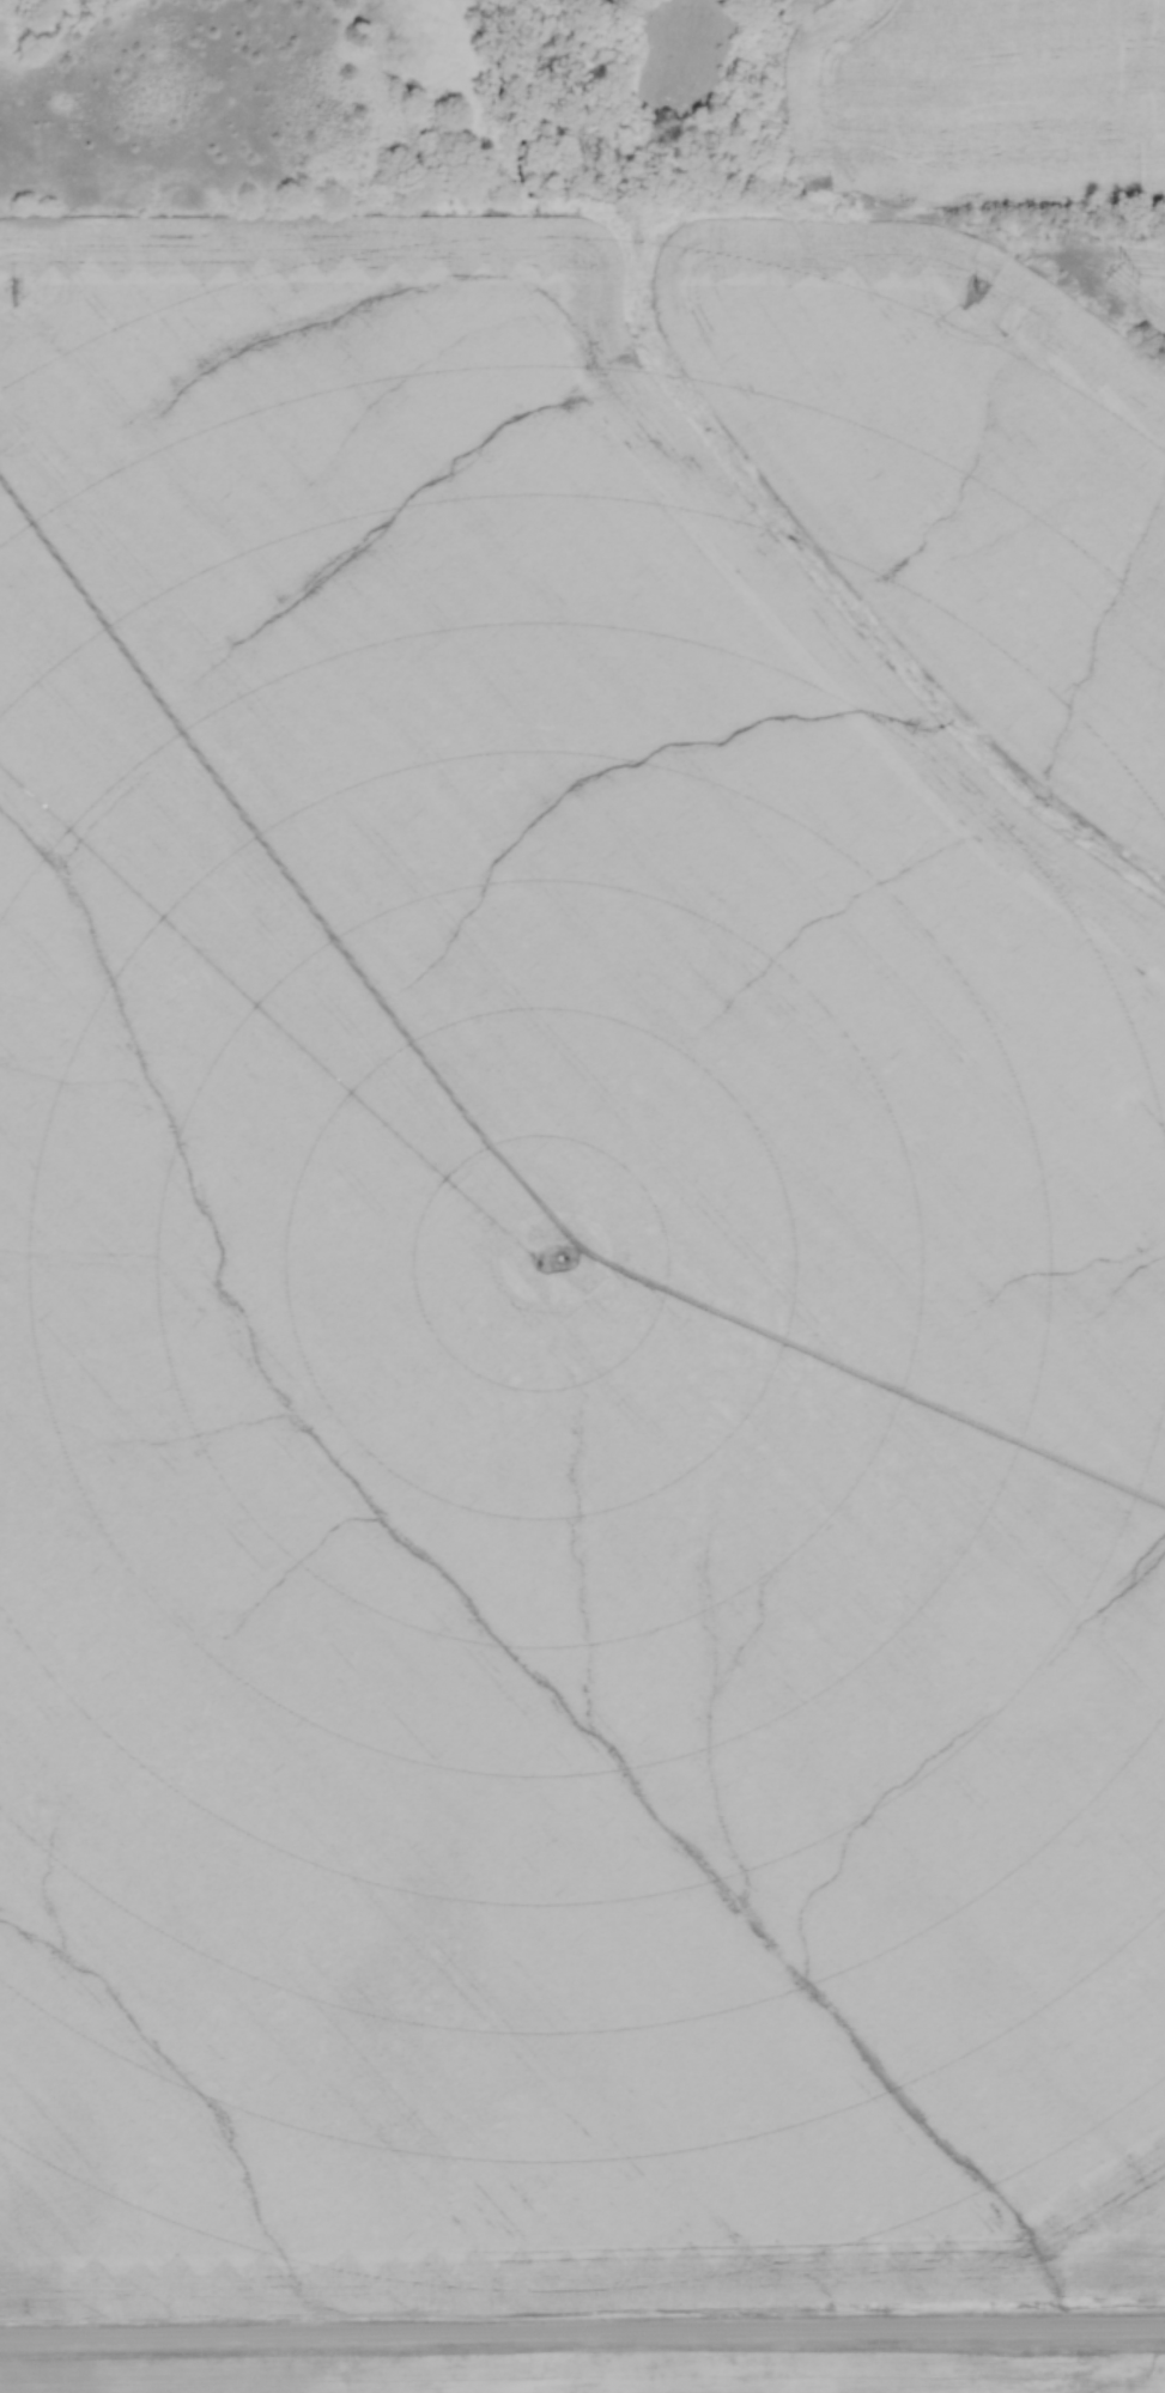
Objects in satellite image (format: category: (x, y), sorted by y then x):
power tower: (11, 286)
power tower: (972, 286)
road: (582, 2337)

